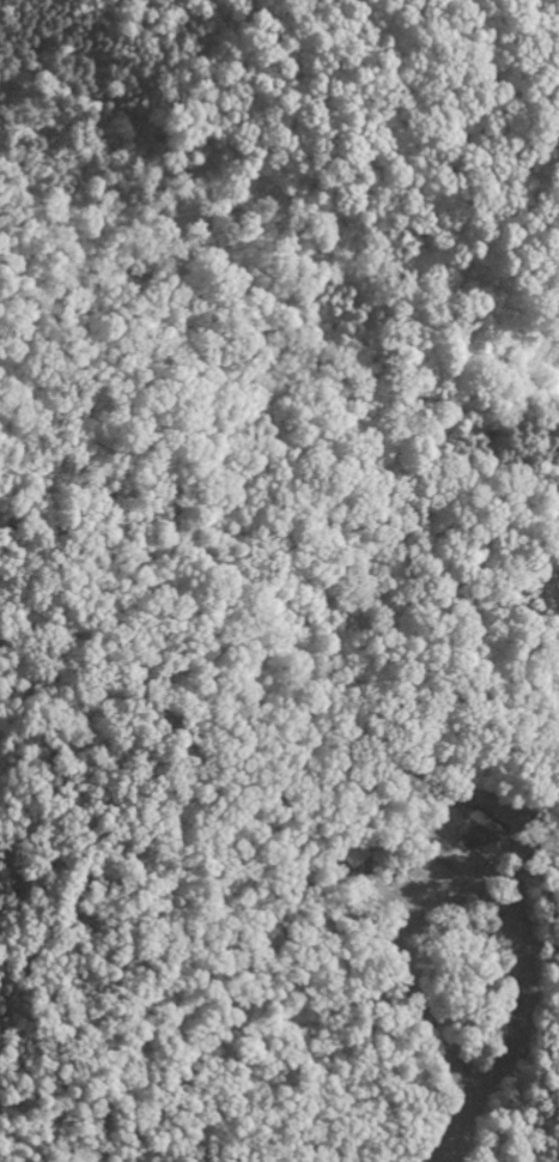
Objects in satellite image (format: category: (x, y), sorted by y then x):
building: (479, 829)
building: (356, 852)
road: (424, 1005)

